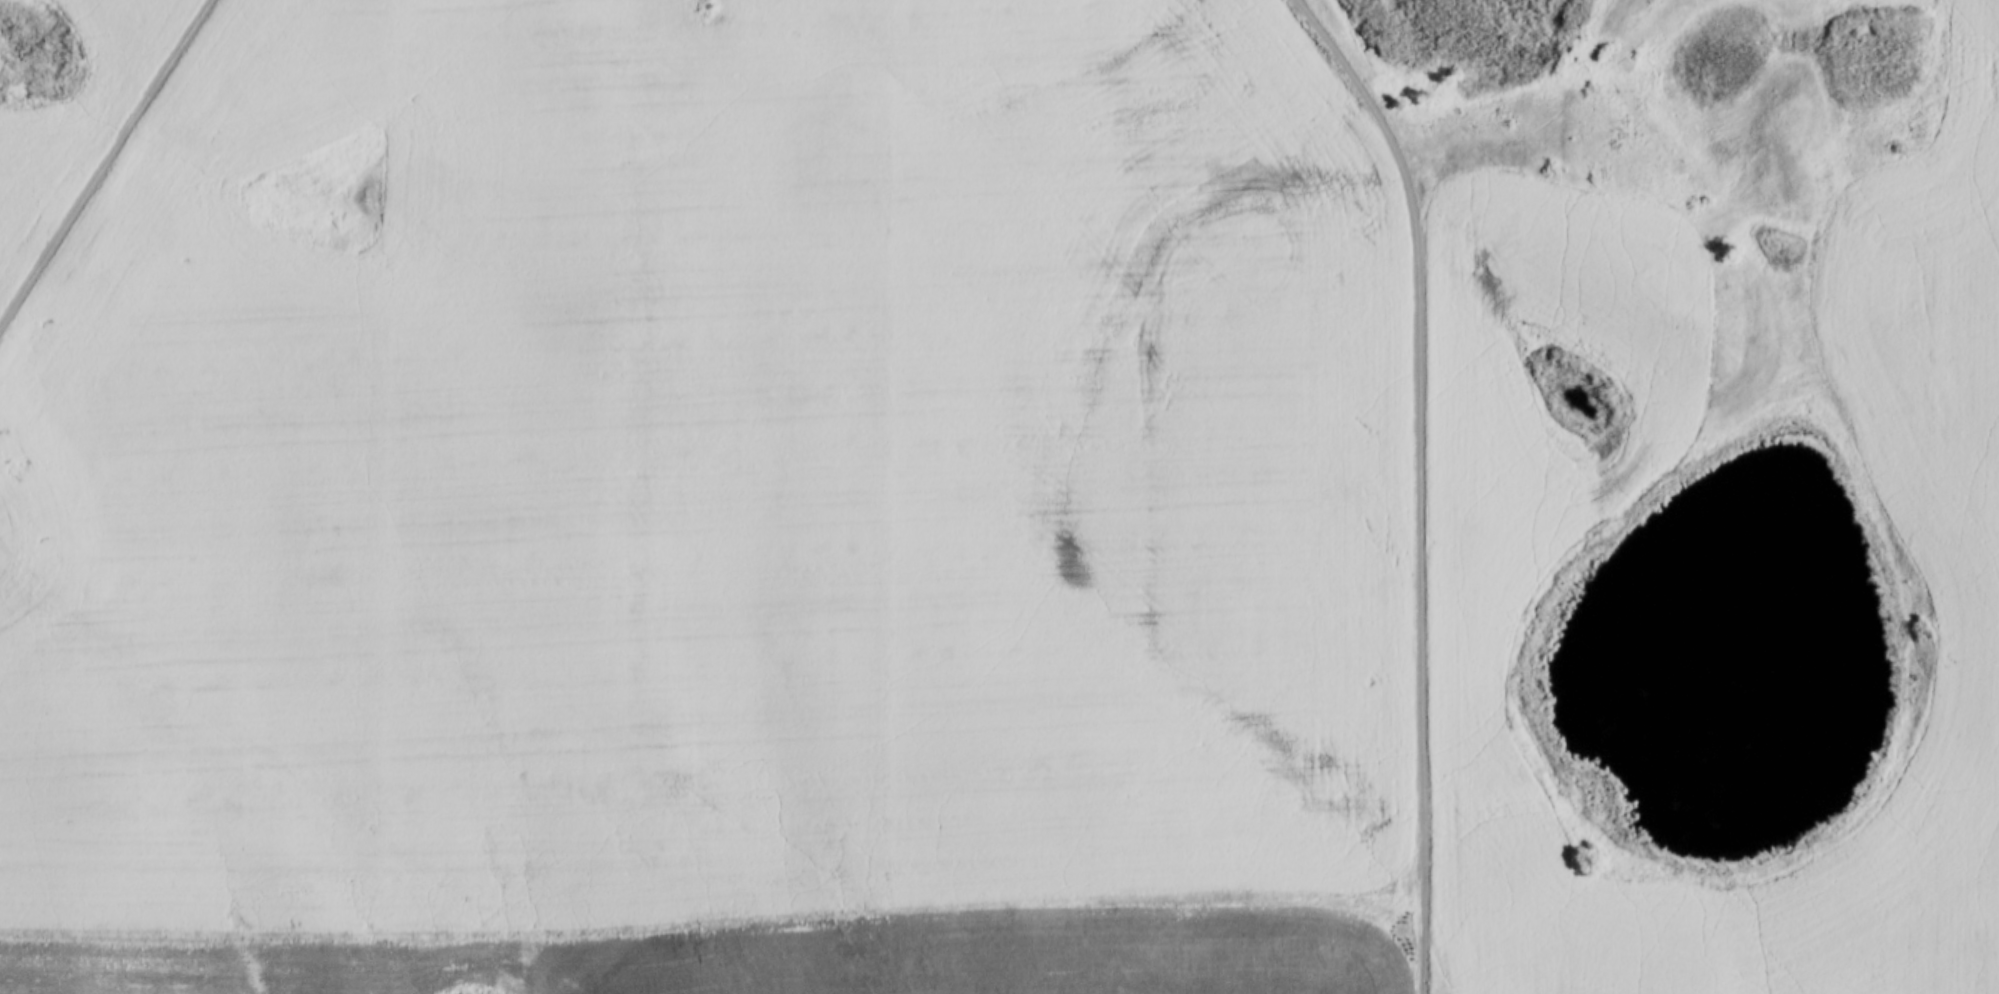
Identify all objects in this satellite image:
road: (95, 149)
road: (1403, 482)

